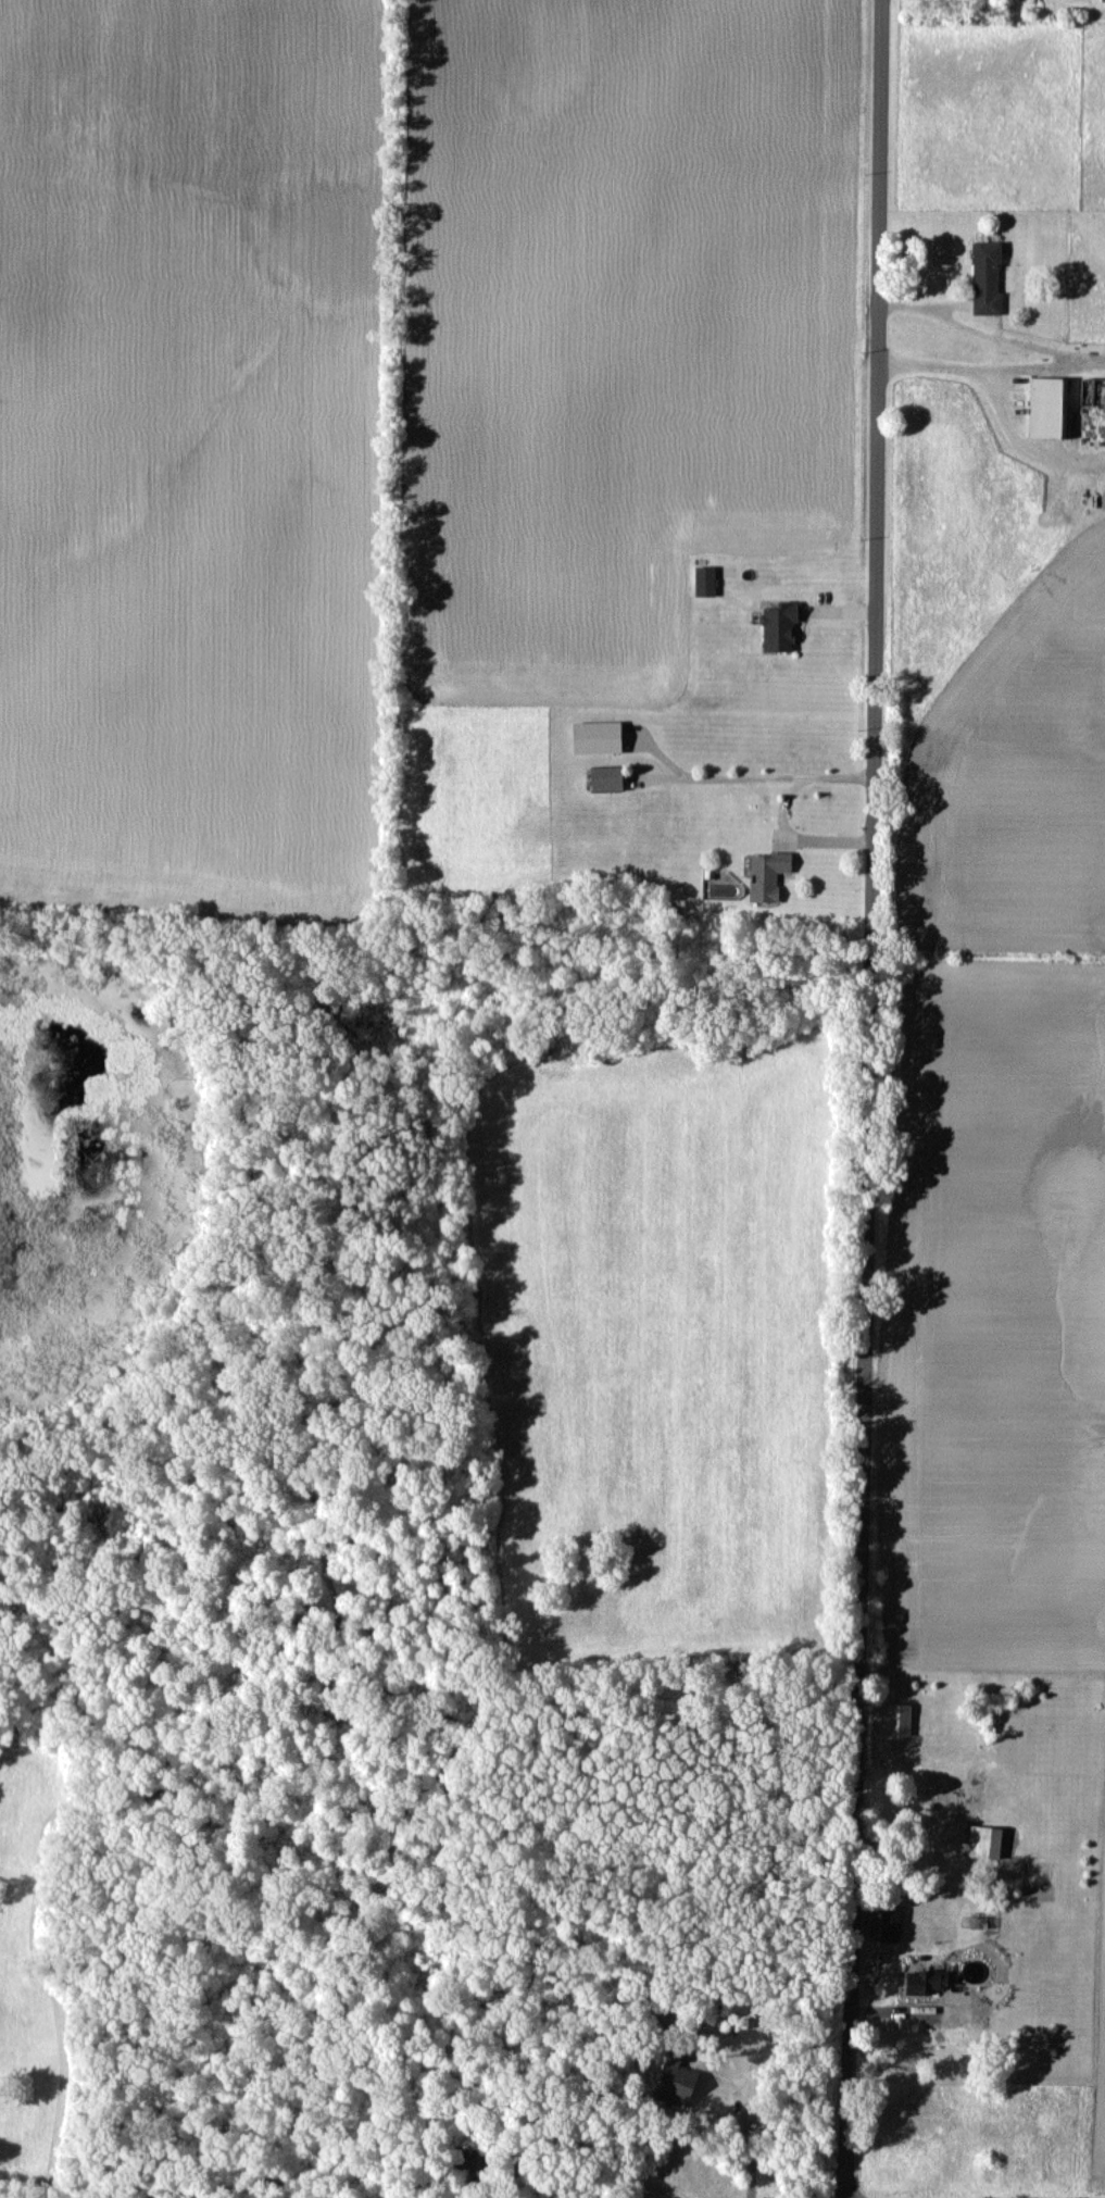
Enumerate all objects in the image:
building: (982, 276)
road: (983, 319)
road: (1046, 357)
road: (936, 358)
building: (1088, 391)
building: (1043, 407)
road: (1025, 433)
building: (701, 585)
building: (774, 626)
road: (723, 776)
building: (599, 777)
road: (780, 809)
building: (763, 874)
road: (872, 1098)
building: (895, 1720)
building: (980, 1841)
building: (887, 1924)
road: (752, 2163)

